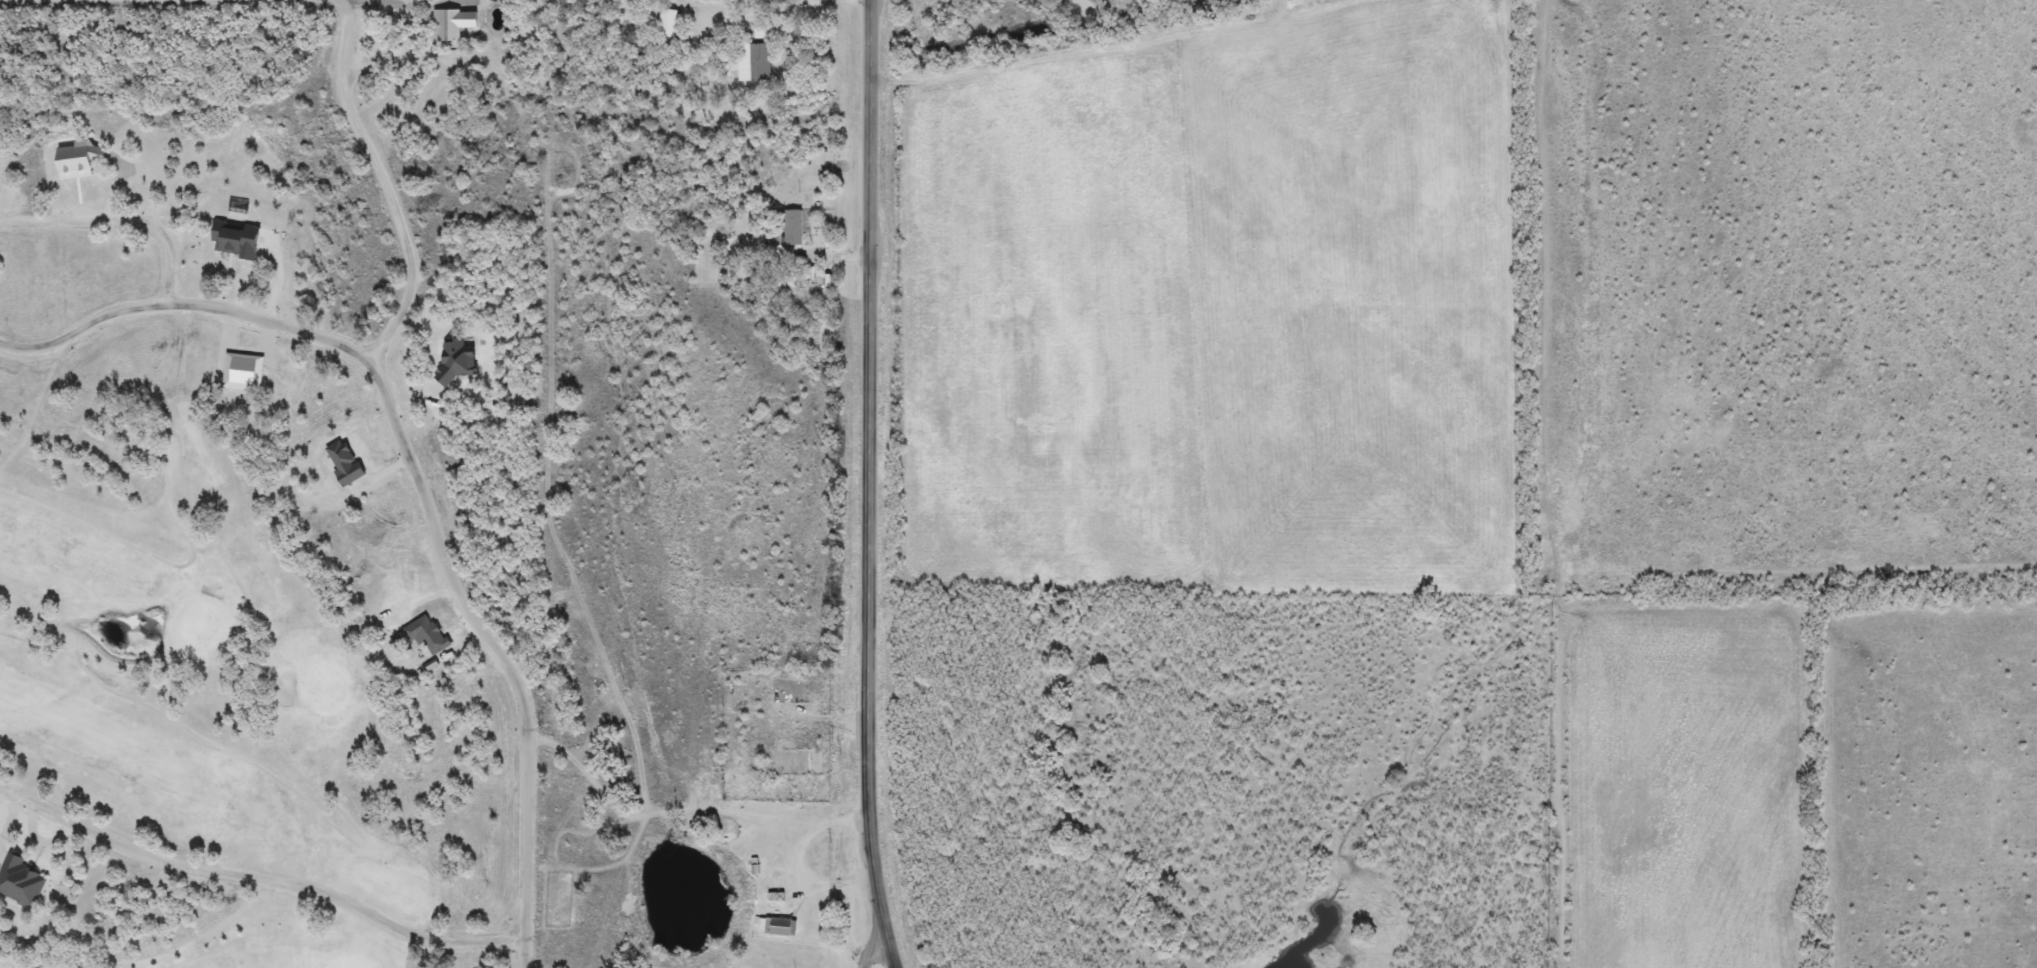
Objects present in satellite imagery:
building: (670, 25)
building: (763, 32)
building: (751, 62)
road: (386, 177)
road: (116, 219)
building: (795, 228)
road: (418, 471)
road: (871, 485)
building: (800, 764)
road: (262, 871)
building: (780, 889)
building: (782, 928)
road: (871, 943)

